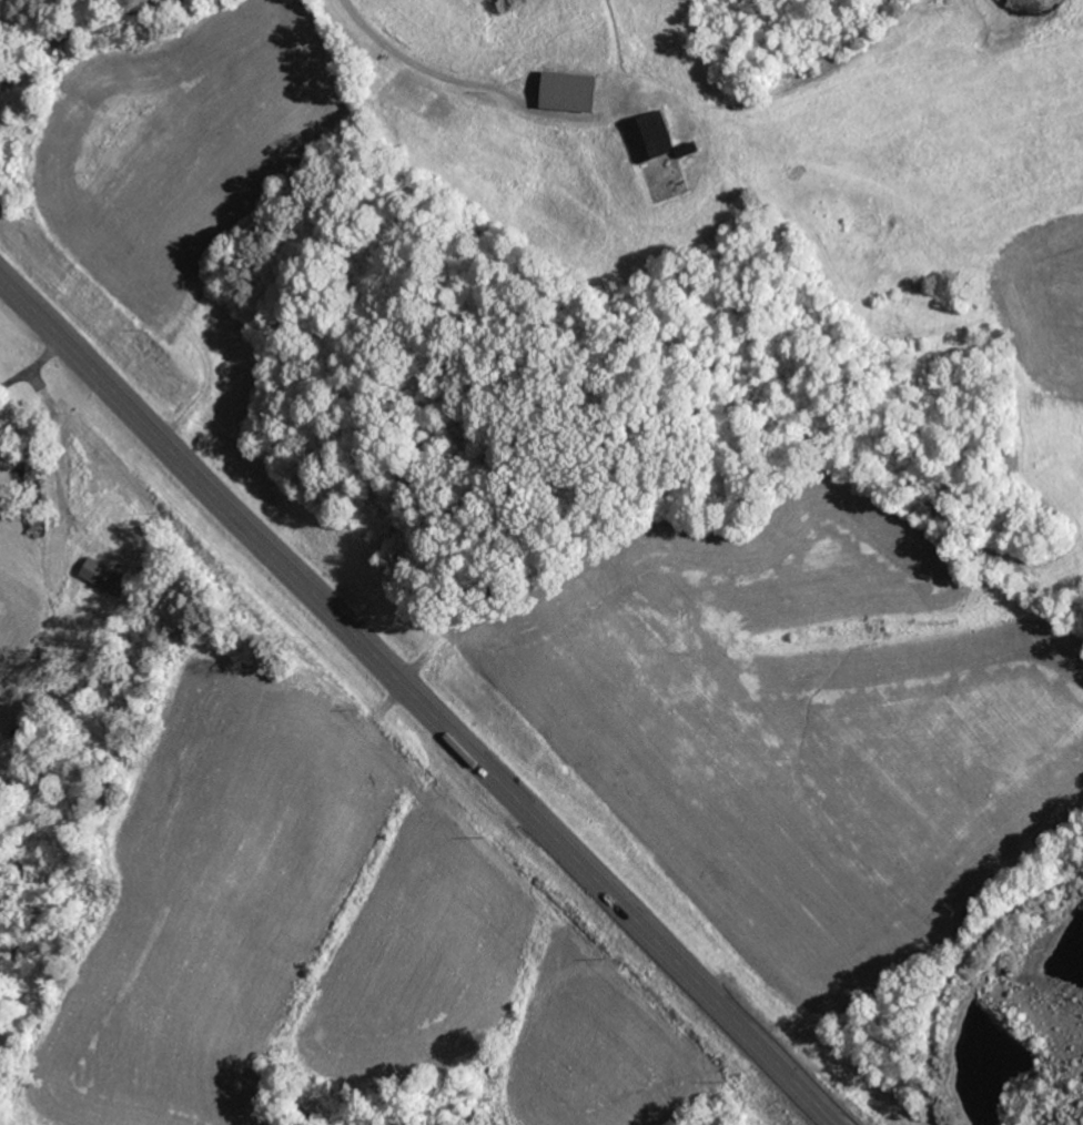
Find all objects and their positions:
road: (77, 28)
building: (576, 90)
building: (654, 136)
building: (108, 577)
road: (419, 701)

